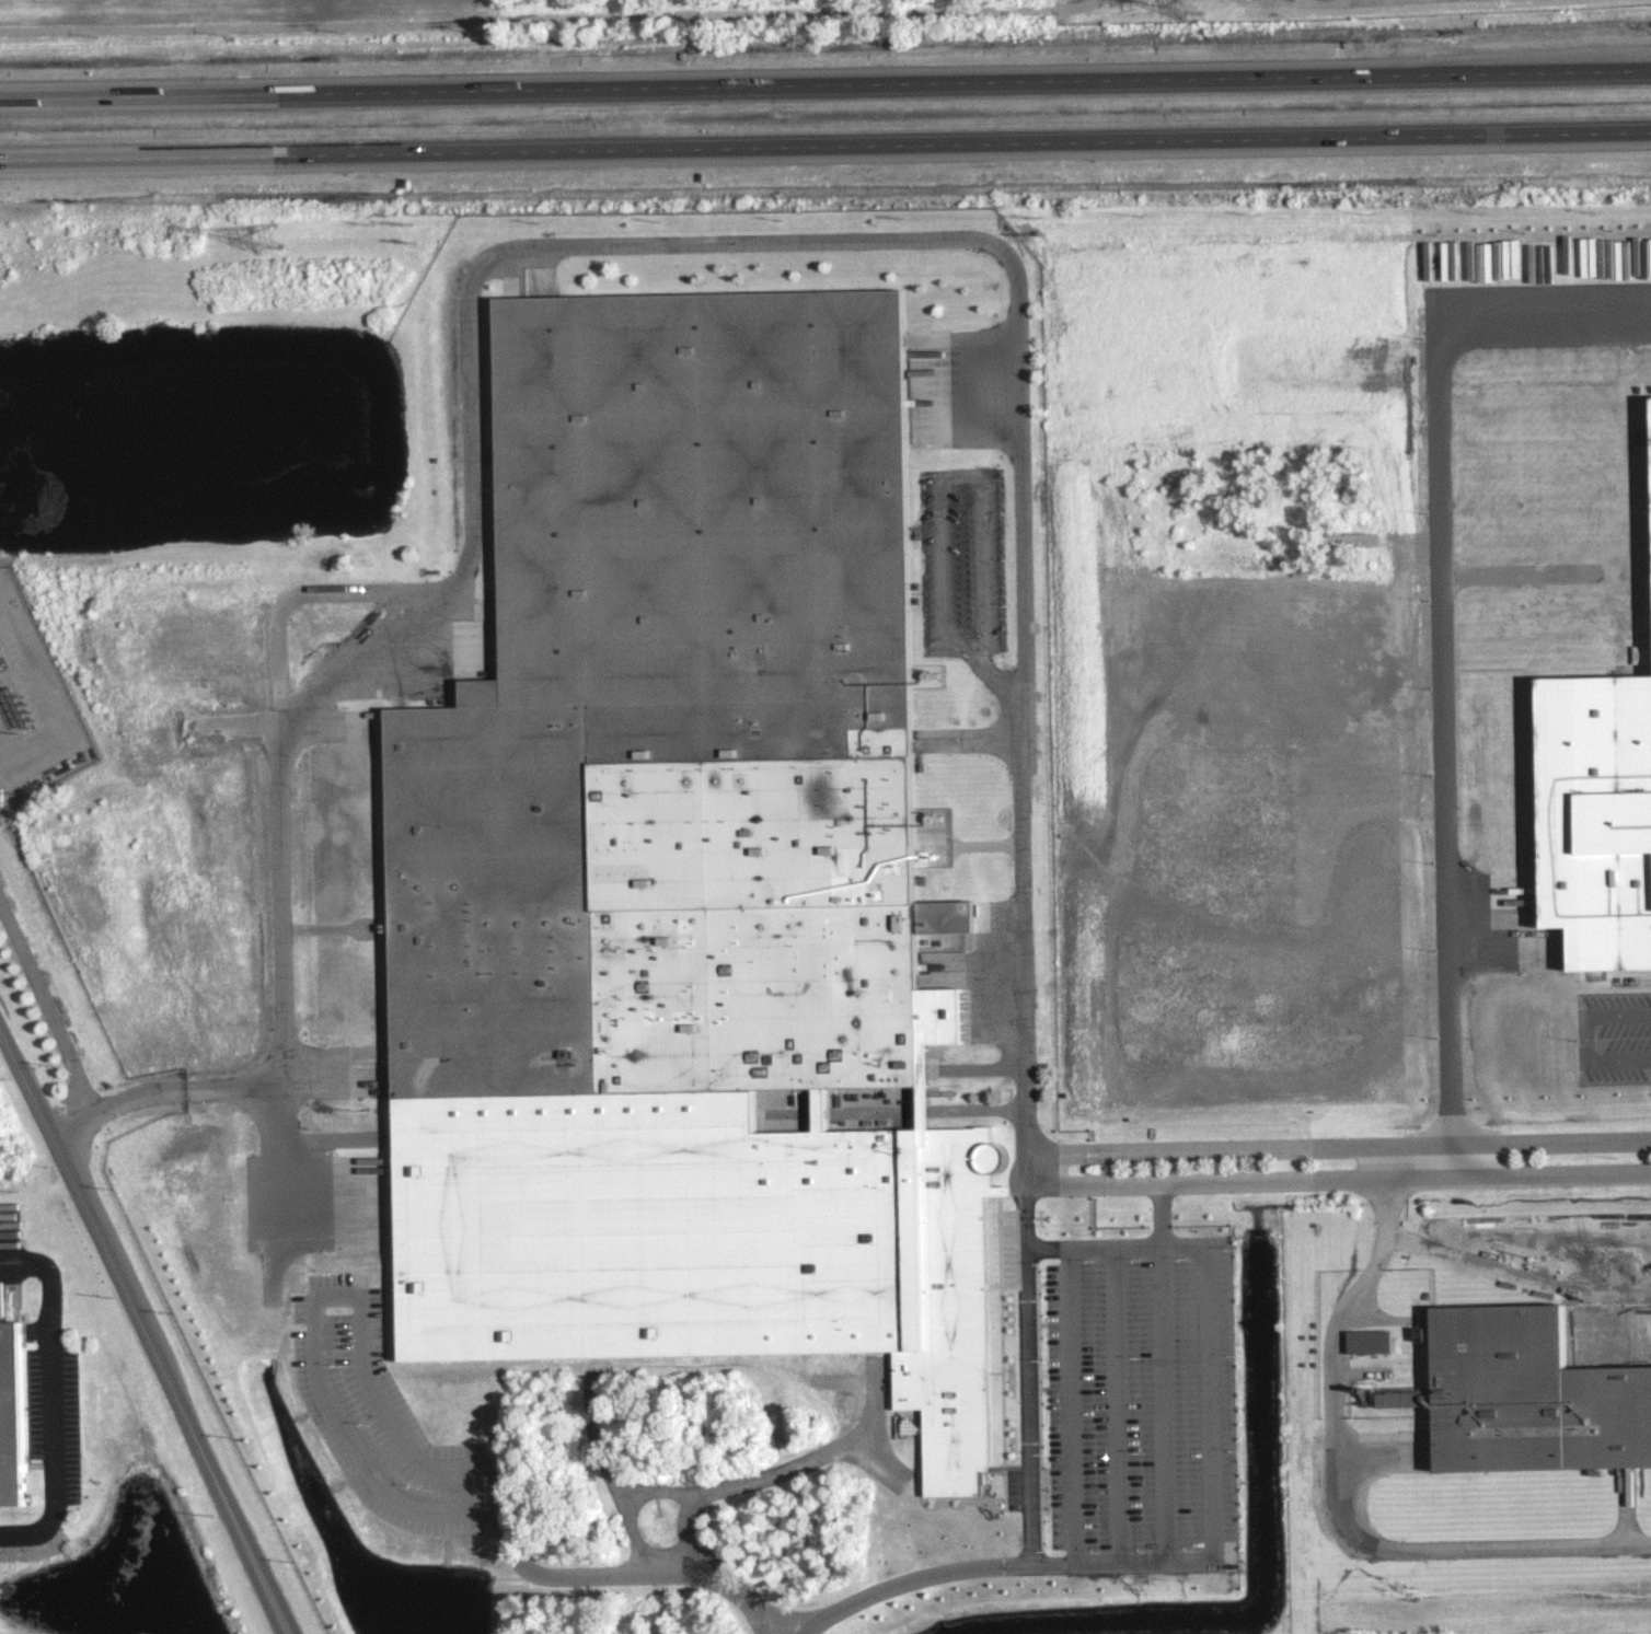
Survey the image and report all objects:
power tower: (1188, 4)
road: (825, 83)
road: (825, 146)
power tower: (264, 236)
road: (591, 243)
building: (1644, 440)
road: (975, 472)
building: (1650, 501)
road: (1438, 631)
road: (43, 691)
power substation: (33, 706)
building: (678, 727)
building: (0, 797)
building: (1596, 804)
road: (48, 1007)
road: (1590, 1036)
road: (1373, 1145)
road: (1061, 1151)
road: (1386, 1161)
road: (1374, 1178)
road: (1062, 1184)
road: (1385, 1206)
road: (1223, 1245)
road: (143, 1331)
building: (1365, 1341)
road: (360, 1356)
road: (1028, 1366)
road: (1177, 1371)
road: (53, 1397)
building: (1532, 1397)
road: (871, 1402)
road: (1132, 1403)
building: (10, 1417)
road: (601, 1444)
road: (800, 1462)
road: (1341, 1517)
road: (661, 1552)
road: (936, 1572)
road: (730, 1581)

